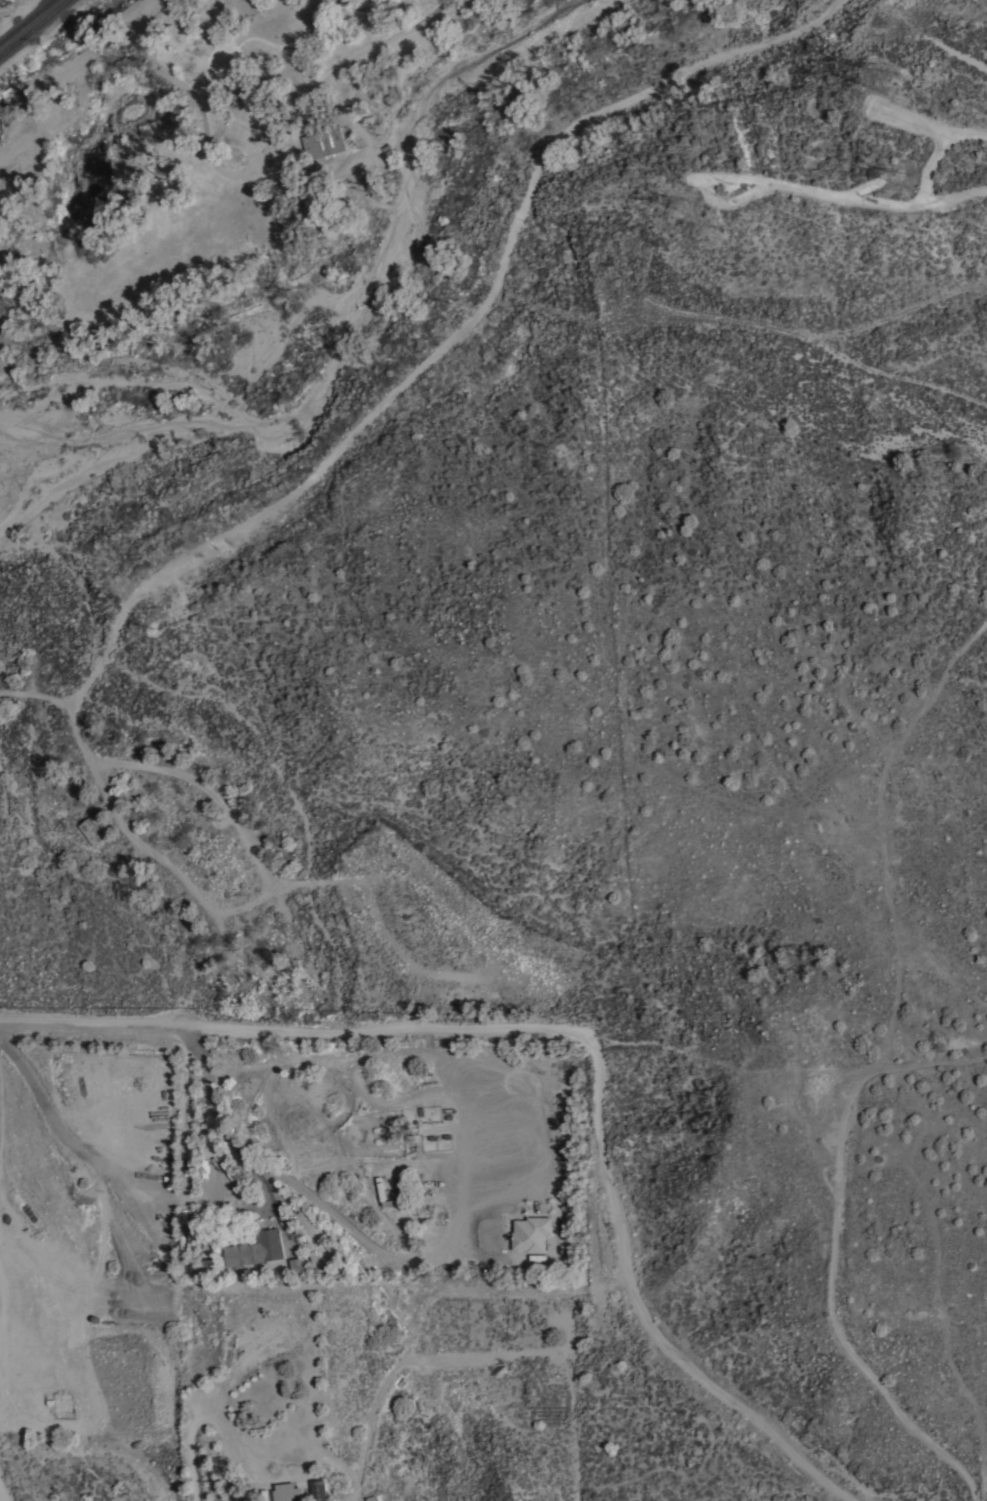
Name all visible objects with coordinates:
railway: (25, 20)
railway: (34, 28)
road: (80, 80)
power tower: (878, 86)
road: (959, 135)
building: (324, 143)
power tower: (903, 187)
power tower: (672, 212)
road: (457, 342)
road: (61, 706)
building: (93, 832)
road: (290, 945)
road: (580, 1033)
road: (251, 1161)
road: (117, 1179)
building: (532, 1235)
building: (257, 1250)
building: (206, 1265)
building: (297, 1266)
road: (314, 1370)
road: (193, 1453)
building: (319, 1490)
building: (287, 1491)
road: (985, 1491)
road: (1, 1498)

